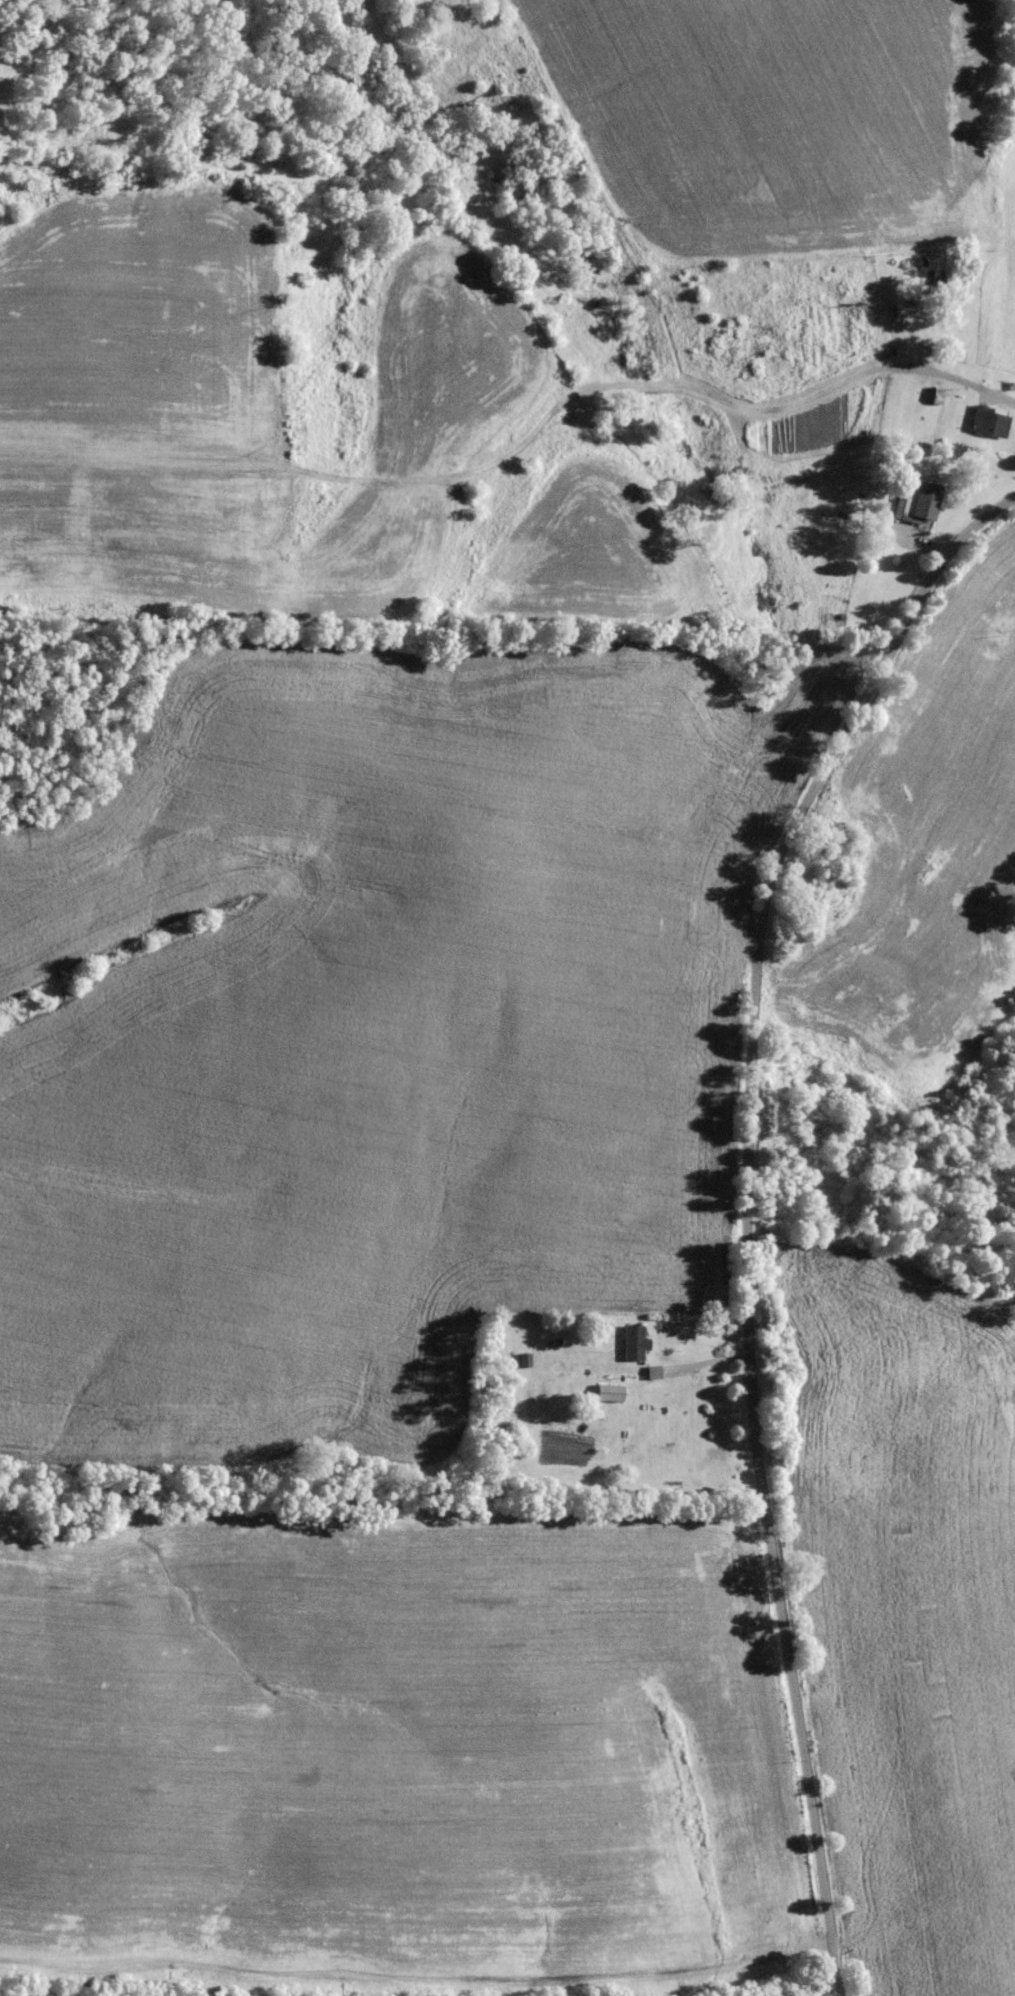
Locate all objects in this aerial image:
building: (989, 422)
building: (921, 501)
road: (765, 1243)
building: (634, 1342)
building: (608, 1392)
road: (905, 1517)

